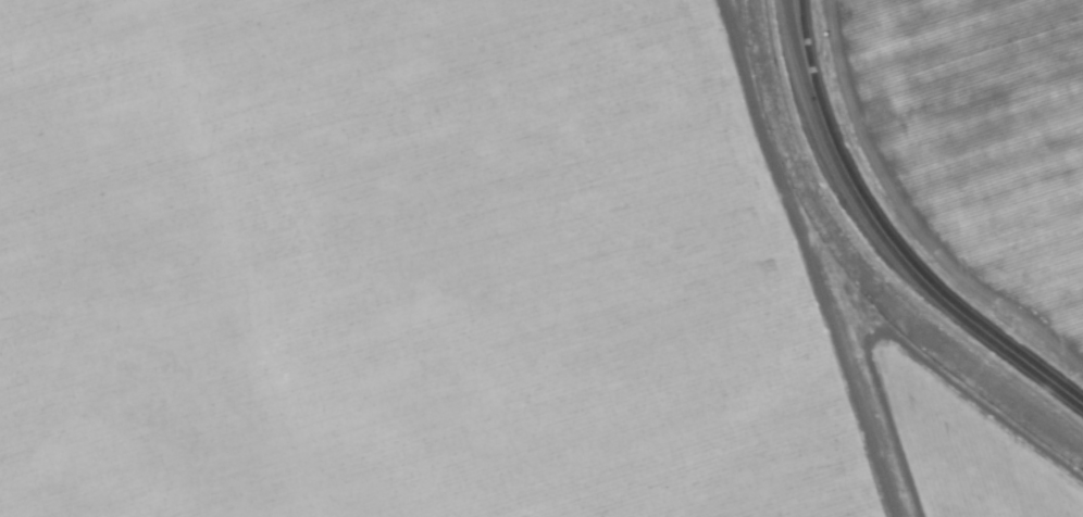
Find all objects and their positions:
road: (887, 237)
crop: (541, 258)

